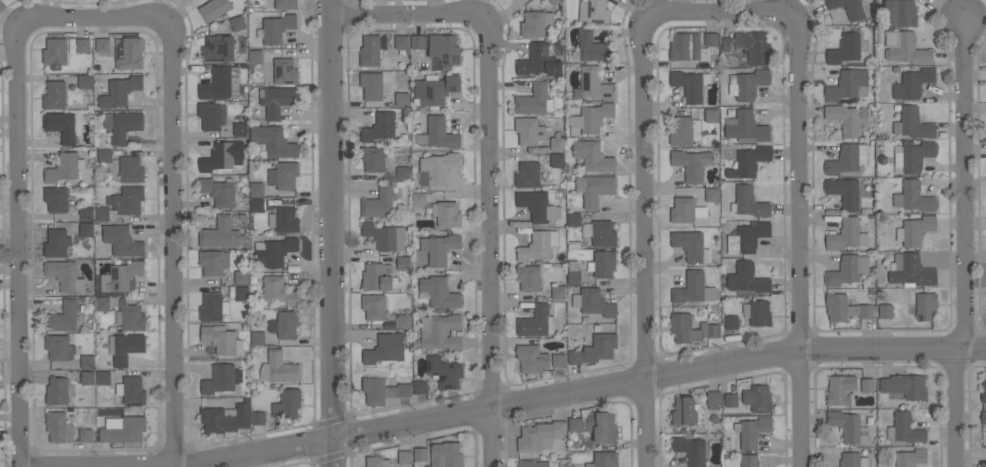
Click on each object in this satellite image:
road: (346, 1)
building: (553, 1)
building: (286, 5)
building: (848, 8)
building: (214, 9)
building: (593, 11)
building: (901, 13)
building: (237, 23)
building: (535, 23)
building: (276, 29)
building: (711, 39)
building: (401, 42)
building: (418, 42)
building: (83, 45)
building: (103, 45)
building: (685, 46)
building: (749, 46)
building: (590, 47)
building: (218, 48)
building: (845, 48)
building: (904, 48)
building: (372, 49)
building: (444, 49)
building: (128, 51)
building: (55, 52)
building: (256, 57)
building: (539, 61)
building: (285, 71)
building: (85, 82)
building: (221, 83)
building: (913, 83)
building: (593, 84)
building: (747, 84)
building: (376, 85)
building: (688, 85)
building: (847, 85)
building: (435, 89)
building: (120, 91)
building: (54, 95)
building: (402, 99)
building: (277, 100)
building: (534, 100)
building: (711, 115)
building: (212, 116)
building: (847, 118)
building: (591, 119)
building: (913, 123)
building: (123, 124)
building: (61, 126)
building: (380, 127)
building: (746, 127)
building: (240, 129)
building: (529, 130)
building: (681, 131)
building: (438, 134)
building: (274, 141)
building: (557, 143)
building: (917, 155)
building: (104, 156)
building: (223, 156)
building: (593, 156)
building: (373, 158)
building: (847, 159)
building: (557, 160)
building: (749, 161)
building: (692, 163)
building: (64, 167)
building: (437, 168)
road: (485, 168)
building: (131, 169)
road: (171, 169)
road: (644, 170)
building: (403, 173)
building: (284, 175)
building: (527, 175)
building: (257, 189)
building: (594, 189)
building: (219, 191)
building: (844, 192)
building: (711, 194)
building: (913, 197)
building: (419, 198)
building: (56, 199)
building: (127, 200)
building: (379, 202)
building: (748, 202)
building: (257, 205)
building: (538, 206)
building: (686, 210)
building: (86, 213)
building: (102, 213)
building: (446, 213)
building: (284, 219)
building: (573, 219)
building: (86, 230)
building: (915, 230)
building: (220, 233)
road: (331, 233)
building: (603, 233)
building: (847, 235)
building: (385, 236)
building: (747, 237)
building: (122, 241)
building: (57, 243)
road: (957, 243)
road: (793, 244)
road: (19, 245)
building: (538, 245)
building: (689, 245)
building: (439, 248)
building: (274, 251)
building: (213, 262)
building: (403, 263)
building: (602, 263)
building: (847, 270)
building: (910, 270)
building: (65, 276)
building: (122, 277)
building: (241, 277)
building: (377, 277)
building: (574, 277)
building: (529, 278)
building: (747, 278)
building: (694, 289)
building: (277, 290)
building: (558, 292)
building: (241, 293)
building: (440, 293)
building: (593, 303)
building: (103, 304)
building: (374, 306)
building: (926, 306)
building: (212, 307)
building: (846, 308)
building: (885, 311)
building: (757, 312)
building: (130, 316)
building: (63, 317)
building: (403, 321)
building: (537, 321)
building: (731, 322)
building: (285, 324)
building: (691, 329)
building: (440, 332)
building: (258, 338)
building: (221, 339)
building: (59, 347)
building: (125, 347)
building: (385, 349)
building: (595, 349)
building: (532, 358)
building: (558, 360)
building: (87, 362)
building: (279, 368)
building: (444, 372)
building: (88, 378)
building: (103, 378)
building: (221, 378)
building: (867, 385)
building: (905, 386)
building: (420, 387)
building: (404, 389)
building: (840, 389)
building: (131, 390)
building: (377, 390)
building: (983, 390)
building: (57, 391)
building: (758, 398)
building: (713, 399)
building: (730, 400)
road: (521, 403)
building: (288, 404)
building: (684, 411)
building: (984, 417)
building: (258, 418)
building: (225, 419)
building: (575, 424)
building: (848, 426)
building: (59, 427)
building: (602, 427)
building: (123, 429)
building: (904, 429)
building: (751, 431)
building: (86, 435)
building: (540, 436)
building: (690, 450)
building: (421, 454)
building: (446, 455)
building: (405, 457)
building: (911, 457)
building: (604, 460)
building: (853, 460)
building: (374, 461)
building: (749, 461)
building: (533, 463)
building: (983, 465)

